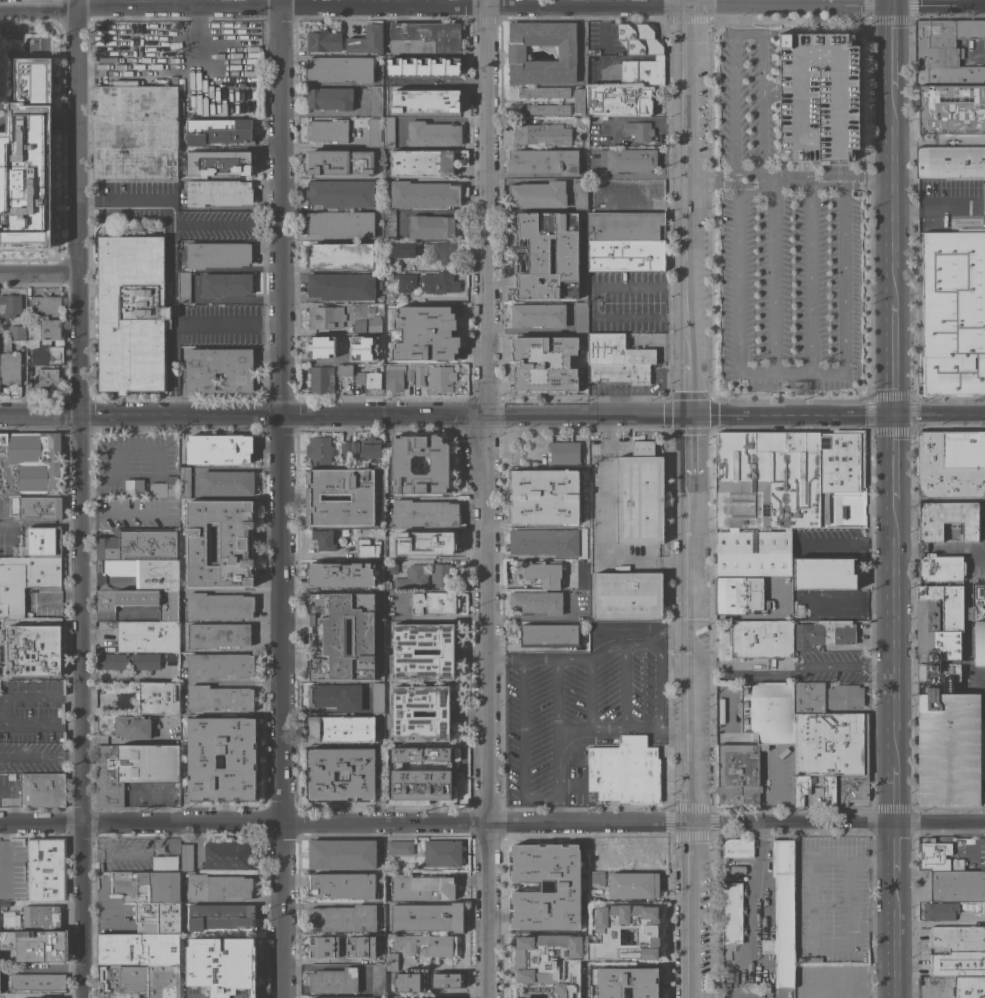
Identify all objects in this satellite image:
road: (886, 2)
road: (196, 3)
traffic signals: (887, 5)
road: (492, 6)
road: (748, 34)
building: (425, 37)
building: (639, 38)
building: (324, 40)
building: (367, 41)
building: (567, 53)
building: (0, 65)
parking garage: (0, 65)
building: (340, 68)
building: (643, 71)
building: (949, 79)
building: (544, 91)
building: (819, 95)
parking garage: (819, 95)
parking lot: (747, 97)
building: (330, 98)
building: (423, 100)
building: (620, 100)
building: (377, 101)
building: (580, 101)
building: (544, 109)
building: (581, 121)
building: (327, 130)
building: (639, 130)
building: (136, 131)
building: (219, 131)
building: (374, 132)
building: (388, 132)
building: (433, 133)
building: (542, 133)
road: (689, 141)
building: (584, 143)
building: (28, 159)
building: (631, 160)
building: (544, 161)
building: (340, 162)
building: (422, 162)
building: (950, 162)
building: (217, 163)
road: (796, 167)
road: (807, 167)
road: (634, 174)
road: (789, 174)
road: (770, 180)
road: (790, 186)
road: (774, 190)
building: (218, 192)
building: (341, 193)
building: (581, 193)
building: (424, 194)
building: (539, 194)
road: (653, 204)
road: (936, 204)
road: (172, 219)
building: (341, 223)
building: (389, 224)
building: (431, 226)
building: (625, 241)
building: (403, 249)
building: (442, 251)
building: (217, 254)
building: (548, 254)
building: (341, 255)
road: (738, 266)
road: (40, 276)
road: (810, 279)
road: (842, 279)
building: (406, 281)
building: (440, 282)
building: (226, 284)
road: (773, 284)
building: (342, 286)
building: (184, 287)
parking lot: (791, 290)
road: (693, 298)
road: (226, 299)
road: (592, 301)
building: (10, 305)
building: (46, 305)
building: (370, 309)
building: (132, 312)
building: (954, 312)
building: (538, 314)
building: (326, 316)
building: (581, 316)
building: (375, 324)
road: (183, 325)
building: (360, 325)
building: (43, 328)
building: (424, 330)
building: (17, 332)
building: (375, 338)
building: (573, 341)
building: (32, 343)
building: (327, 344)
building: (530, 347)
building: (616, 350)
building: (367, 353)
building: (47, 354)
building: (582, 357)
building: (9, 363)
building: (918, 367)
building: (219, 369)
building: (345, 370)
building: (619, 372)
building: (410, 373)
road: (790, 373)
building: (529, 376)
building: (47, 377)
building: (394, 377)
building: (435, 377)
building: (575, 377)
building: (321, 378)
building: (554, 378)
building: (368, 379)
road: (446, 414)
traffic signals: (692, 414)
road: (939, 414)
traffic signals: (486, 415)
traffic signals: (894, 415)
building: (345, 447)
building: (219, 448)
building: (354, 448)
building: (319, 450)
building: (371, 450)
building: (564, 452)
building: (30, 462)
building: (440, 464)
building: (951, 464)
building: (582, 472)
building: (530, 478)
building: (185, 481)
building: (228, 483)
building: (134, 486)
building: (165, 487)
building: (778, 491)
building: (640, 495)
building: (362, 497)
building: (536, 498)
road: (81, 499)
road: (280, 499)
road: (486, 499)
road: (894, 501)
building: (37, 507)
building: (562, 508)
building: (425, 512)
road: (120, 513)
building: (517, 518)
building: (537, 519)
building: (948, 519)
building: (324, 539)
building: (45, 540)
building: (545, 541)
road: (850, 541)
building: (221, 542)
building: (426, 542)
building: (138, 545)
building: (367, 547)
building: (391, 565)
building: (941, 567)
building: (338, 573)
building: (541, 573)
building: (825, 573)
building: (441, 574)
building: (582, 574)
building: (160, 575)
building: (413, 577)
building: (25, 580)
building: (387, 584)
road: (967, 584)
building: (779, 585)
building: (931, 592)
building: (738, 594)
building: (629, 595)
building: (978, 600)
building: (141, 601)
building: (537, 601)
building: (434, 602)
building: (219, 605)
building: (953, 606)
building: (984, 611)
building: (927, 624)
building: (824, 633)
building: (219, 634)
building: (549, 634)
building: (343, 635)
building: (149, 636)
building: (761, 638)
building: (979, 642)
building: (946, 644)
building: (34, 649)
building: (404, 651)
building: (173, 654)
road: (593, 654)
road: (693, 656)
road: (843, 663)
building: (114, 664)
building: (219, 665)
road: (745, 666)
building: (937, 673)
road: (659, 680)
road: (624, 684)
road: (589, 691)
road: (556, 693)
building: (336, 696)
building: (846, 696)
building: (160, 698)
building: (220, 698)
building: (378, 698)
road: (5, 710)
building: (769, 711)
building: (404, 713)
building: (125, 725)
building: (342, 728)
road: (563, 729)
road: (675, 729)
building: (831, 743)
road: (522, 744)
building: (982, 747)
building: (950, 748)
building: (420, 753)
road: (40, 755)
building: (219, 757)
building: (133, 768)
building: (626, 770)
building: (341, 773)
building: (738, 773)
building: (422, 784)
building: (801, 788)
building: (853, 788)
building: (43, 789)
building: (829, 790)
building: (981, 797)
road: (492, 821)
building: (399, 847)
building: (738, 847)
building: (595, 851)
building: (343, 853)
building: (443, 853)
building: (642, 853)
building: (935, 854)
building: (227, 855)
building: (187, 856)
building: (165, 862)
building: (47, 868)
building: (596, 868)
building: (737, 869)
road: (758, 877)
building: (597, 878)
building: (148, 885)
building: (343, 885)
building: (543, 885)
building: (634, 885)
building: (957, 885)
building: (219, 887)
building: (423, 887)
road: (108, 898)
building: (5, 903)
building: (983, 907)
building: (941, 910)
building: (732, 913)
building: (782, 914)
building: (221, 916)
building: (41, 917)
building: (158, 917)
building: (428, 917)
building: (343, 918)
road: (810, 918)
building: (10, 919)
building: (388, 935)
building: (957, 939)
building: (443, 945)
building: (324, 946)
building: (360, 946)
building: (51, 947)
building: (588, 947)
building: (139, 948)
building: (11, 949)
building: (391, 960)
building: (958, 963)
building: (217, 967)
building: (851, 977)
building: (378, 979)
building: (140, 980)
building: (335, 980)
building: (445, 980)
building: (38, 981)
building: (627, 982)
building: (406, 983)
building: (806, 987)
building: (969, 987)
road: (920, 994)
building: (3, 995)
building: (819, 996)
building: (43, 997)
building: (343, 997)
building: (437, 997)
building: (852, 997)

